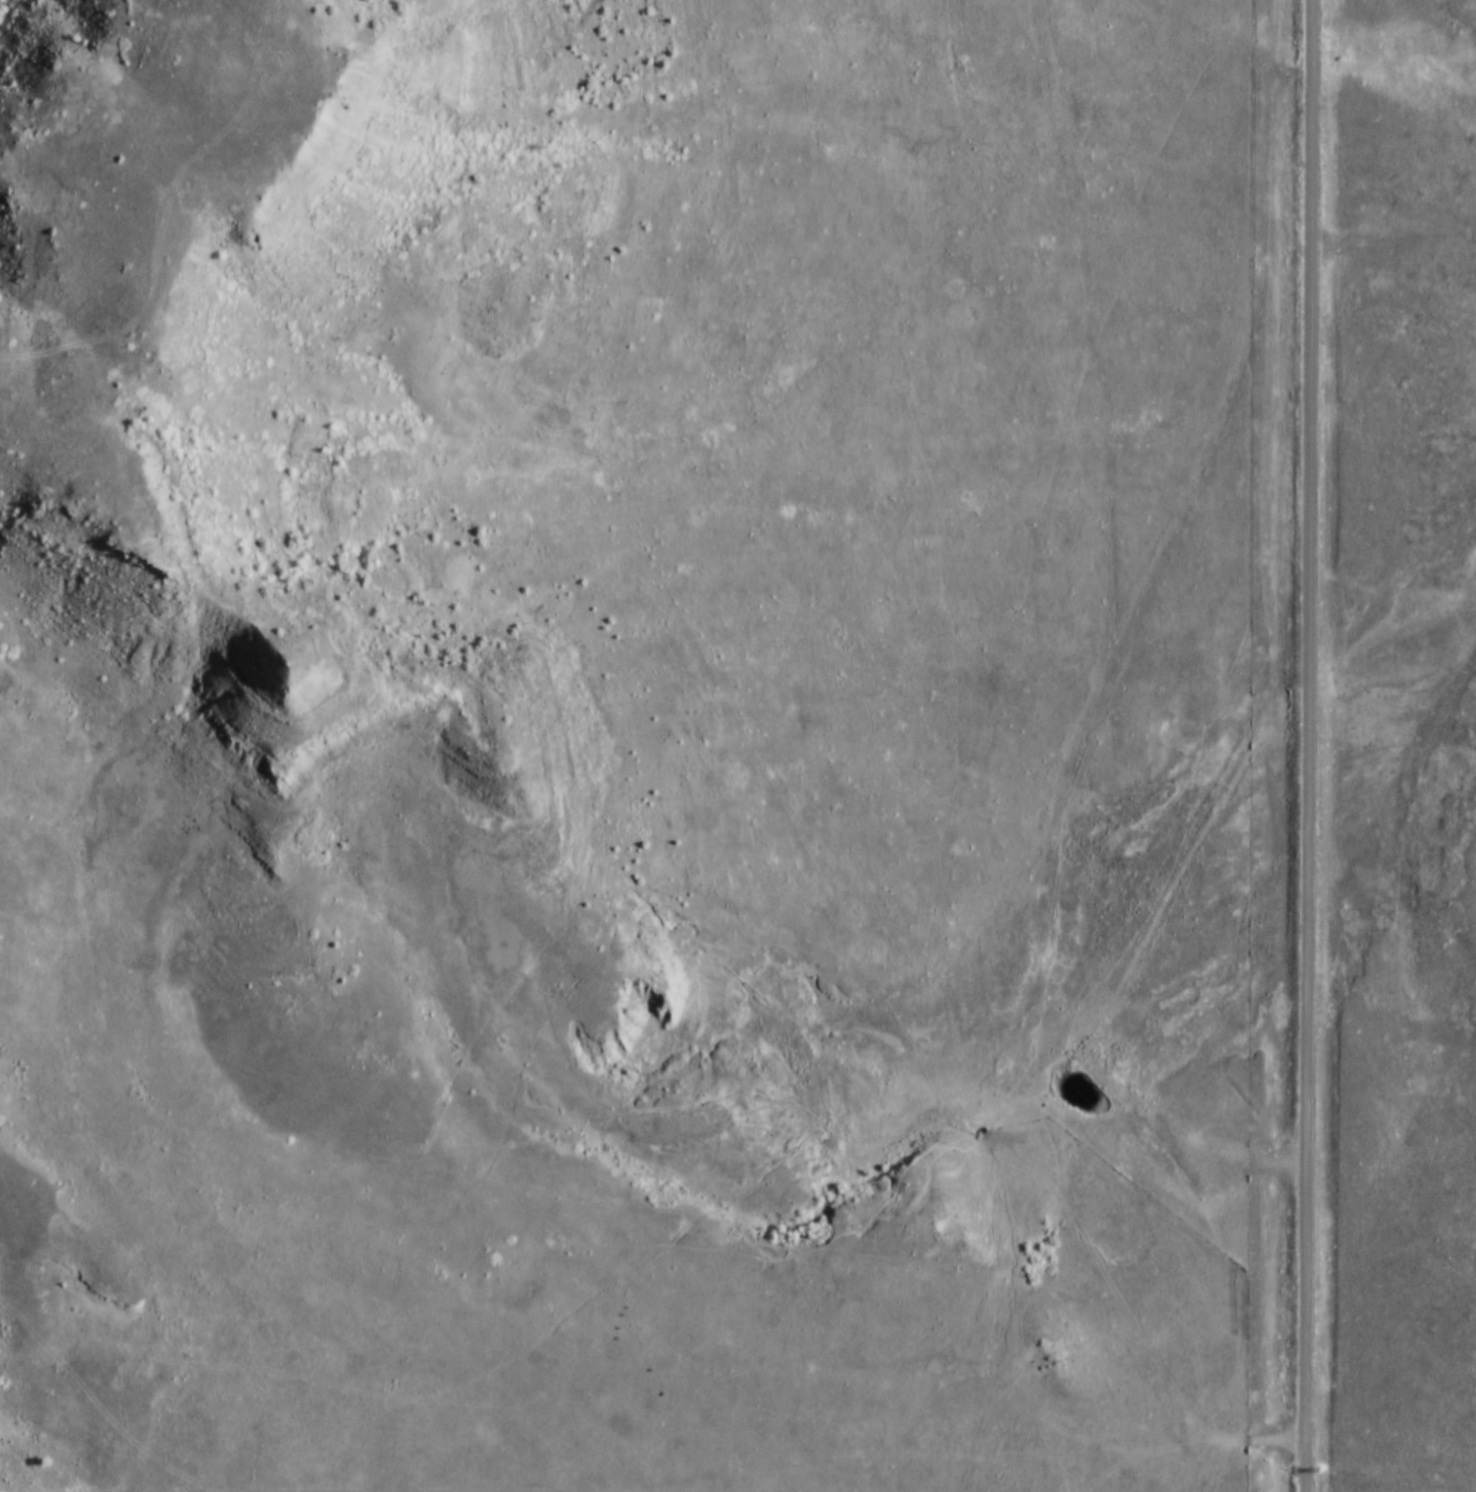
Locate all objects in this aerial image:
road: (1392, 240)
road: (1310, 746)

